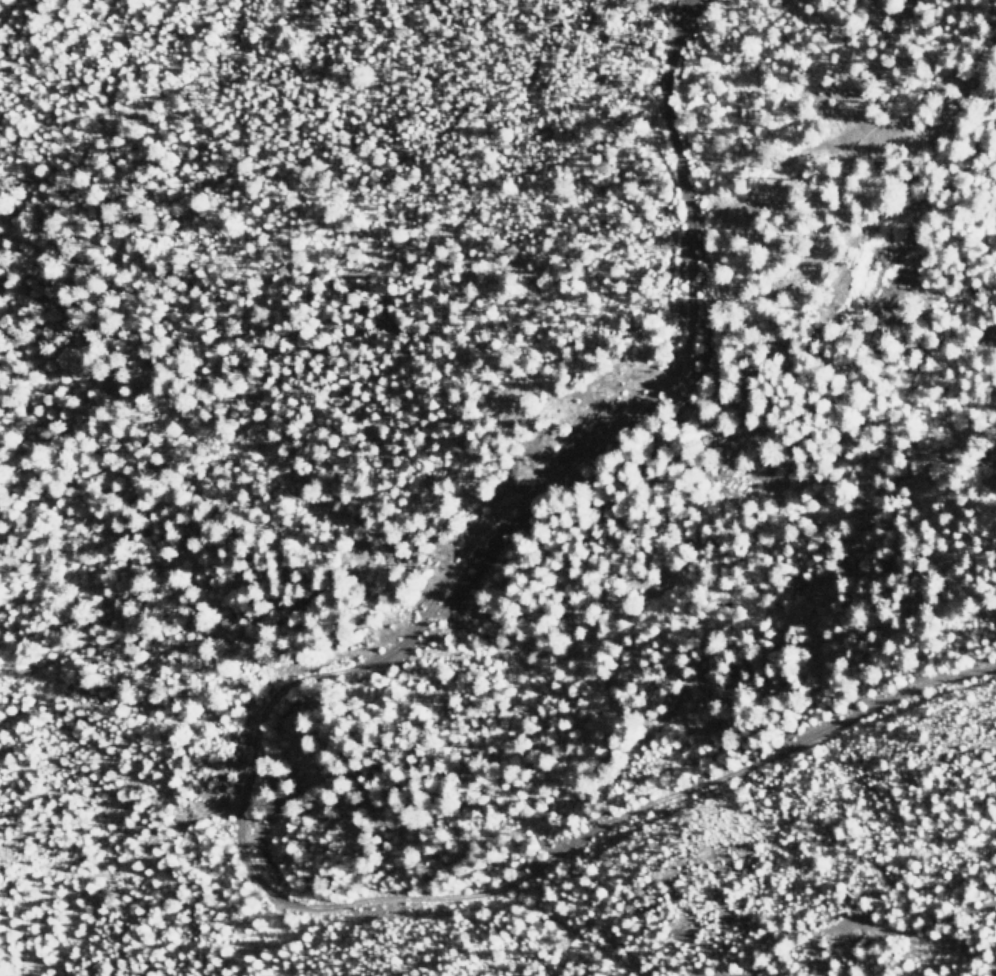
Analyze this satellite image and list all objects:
road: (268, 741)

